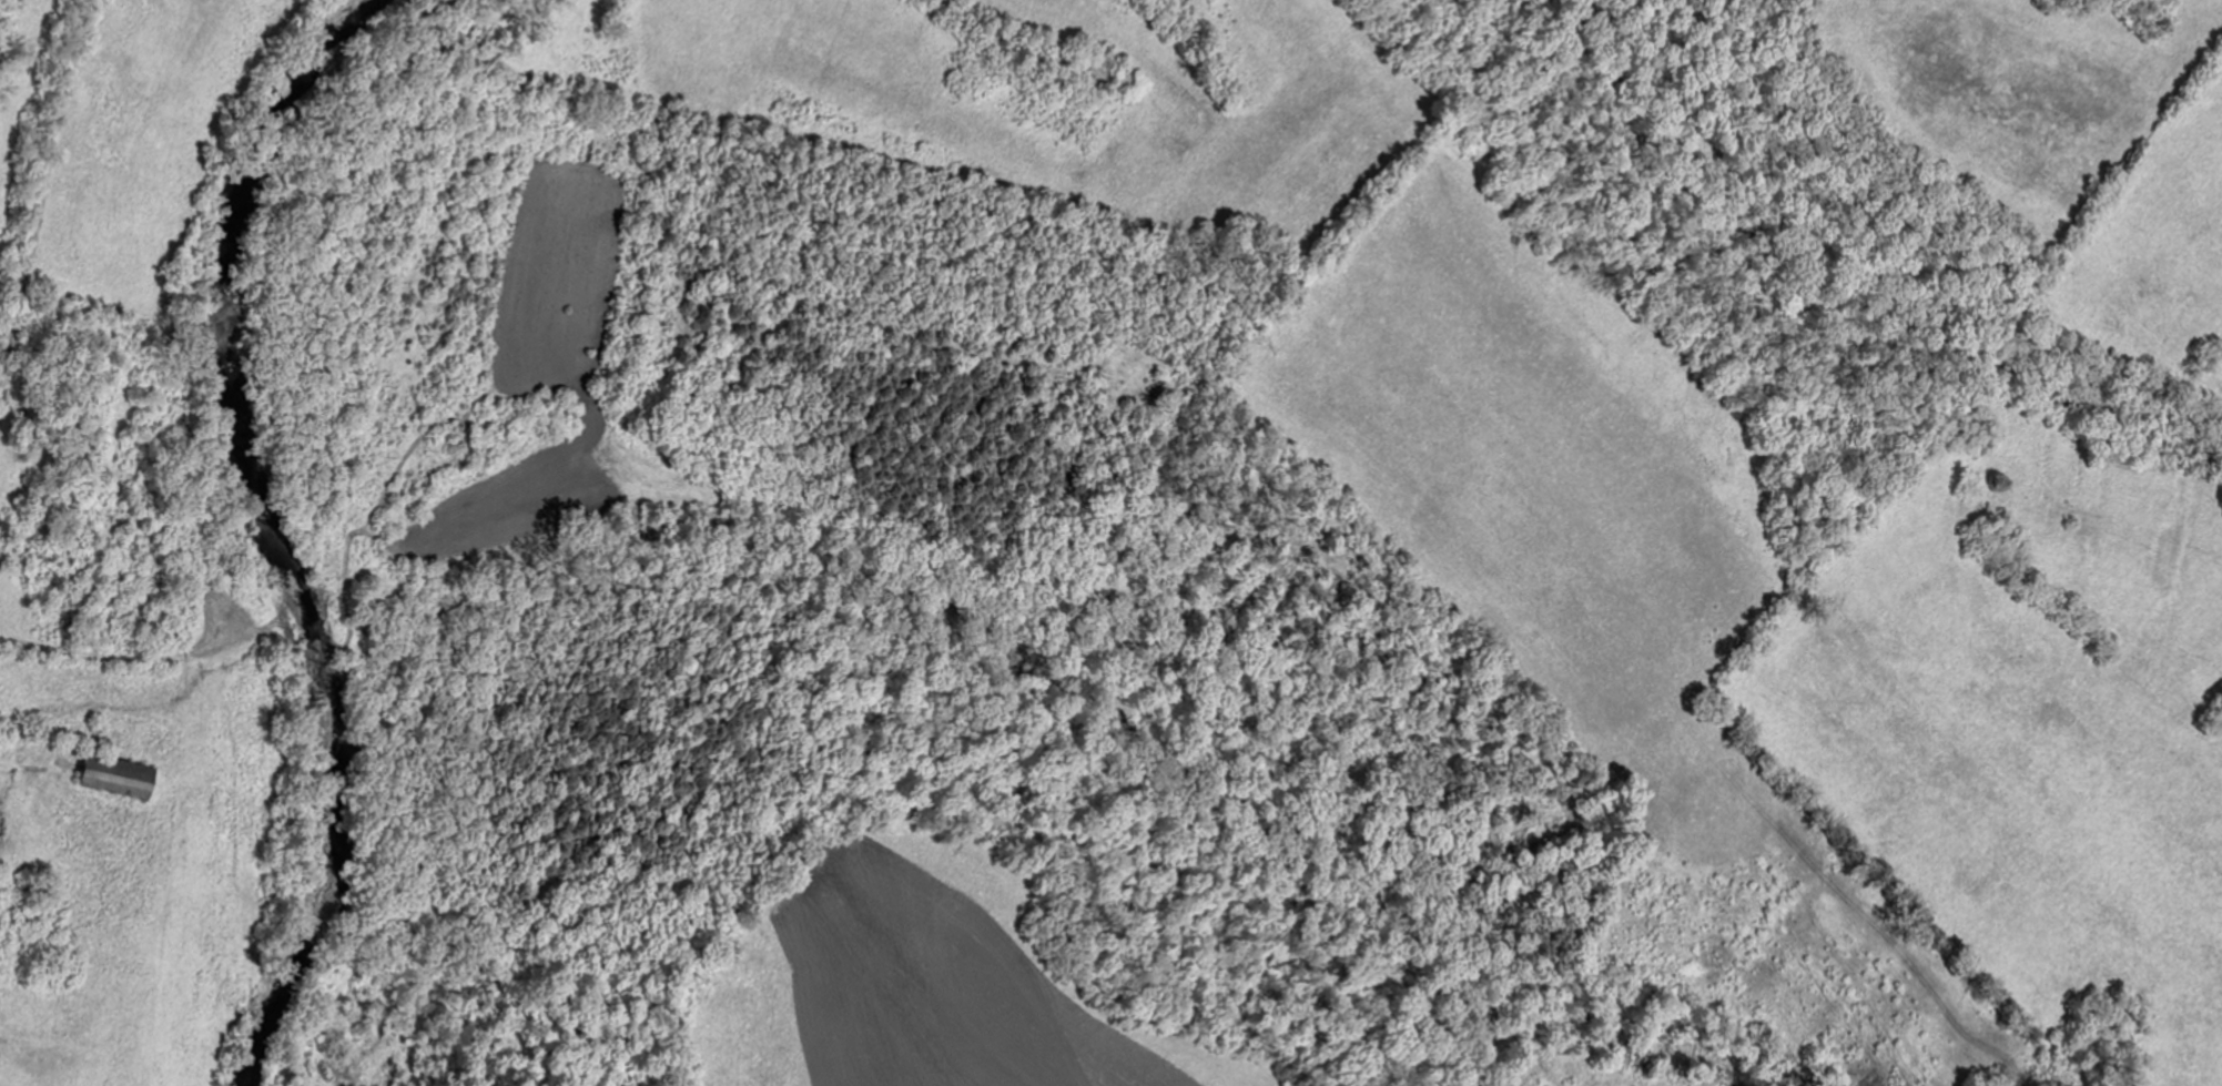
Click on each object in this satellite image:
road: (35, 191)
building: (516, 539)
road: (312, 554)
building: (121, 773)
building: (28, 915)

